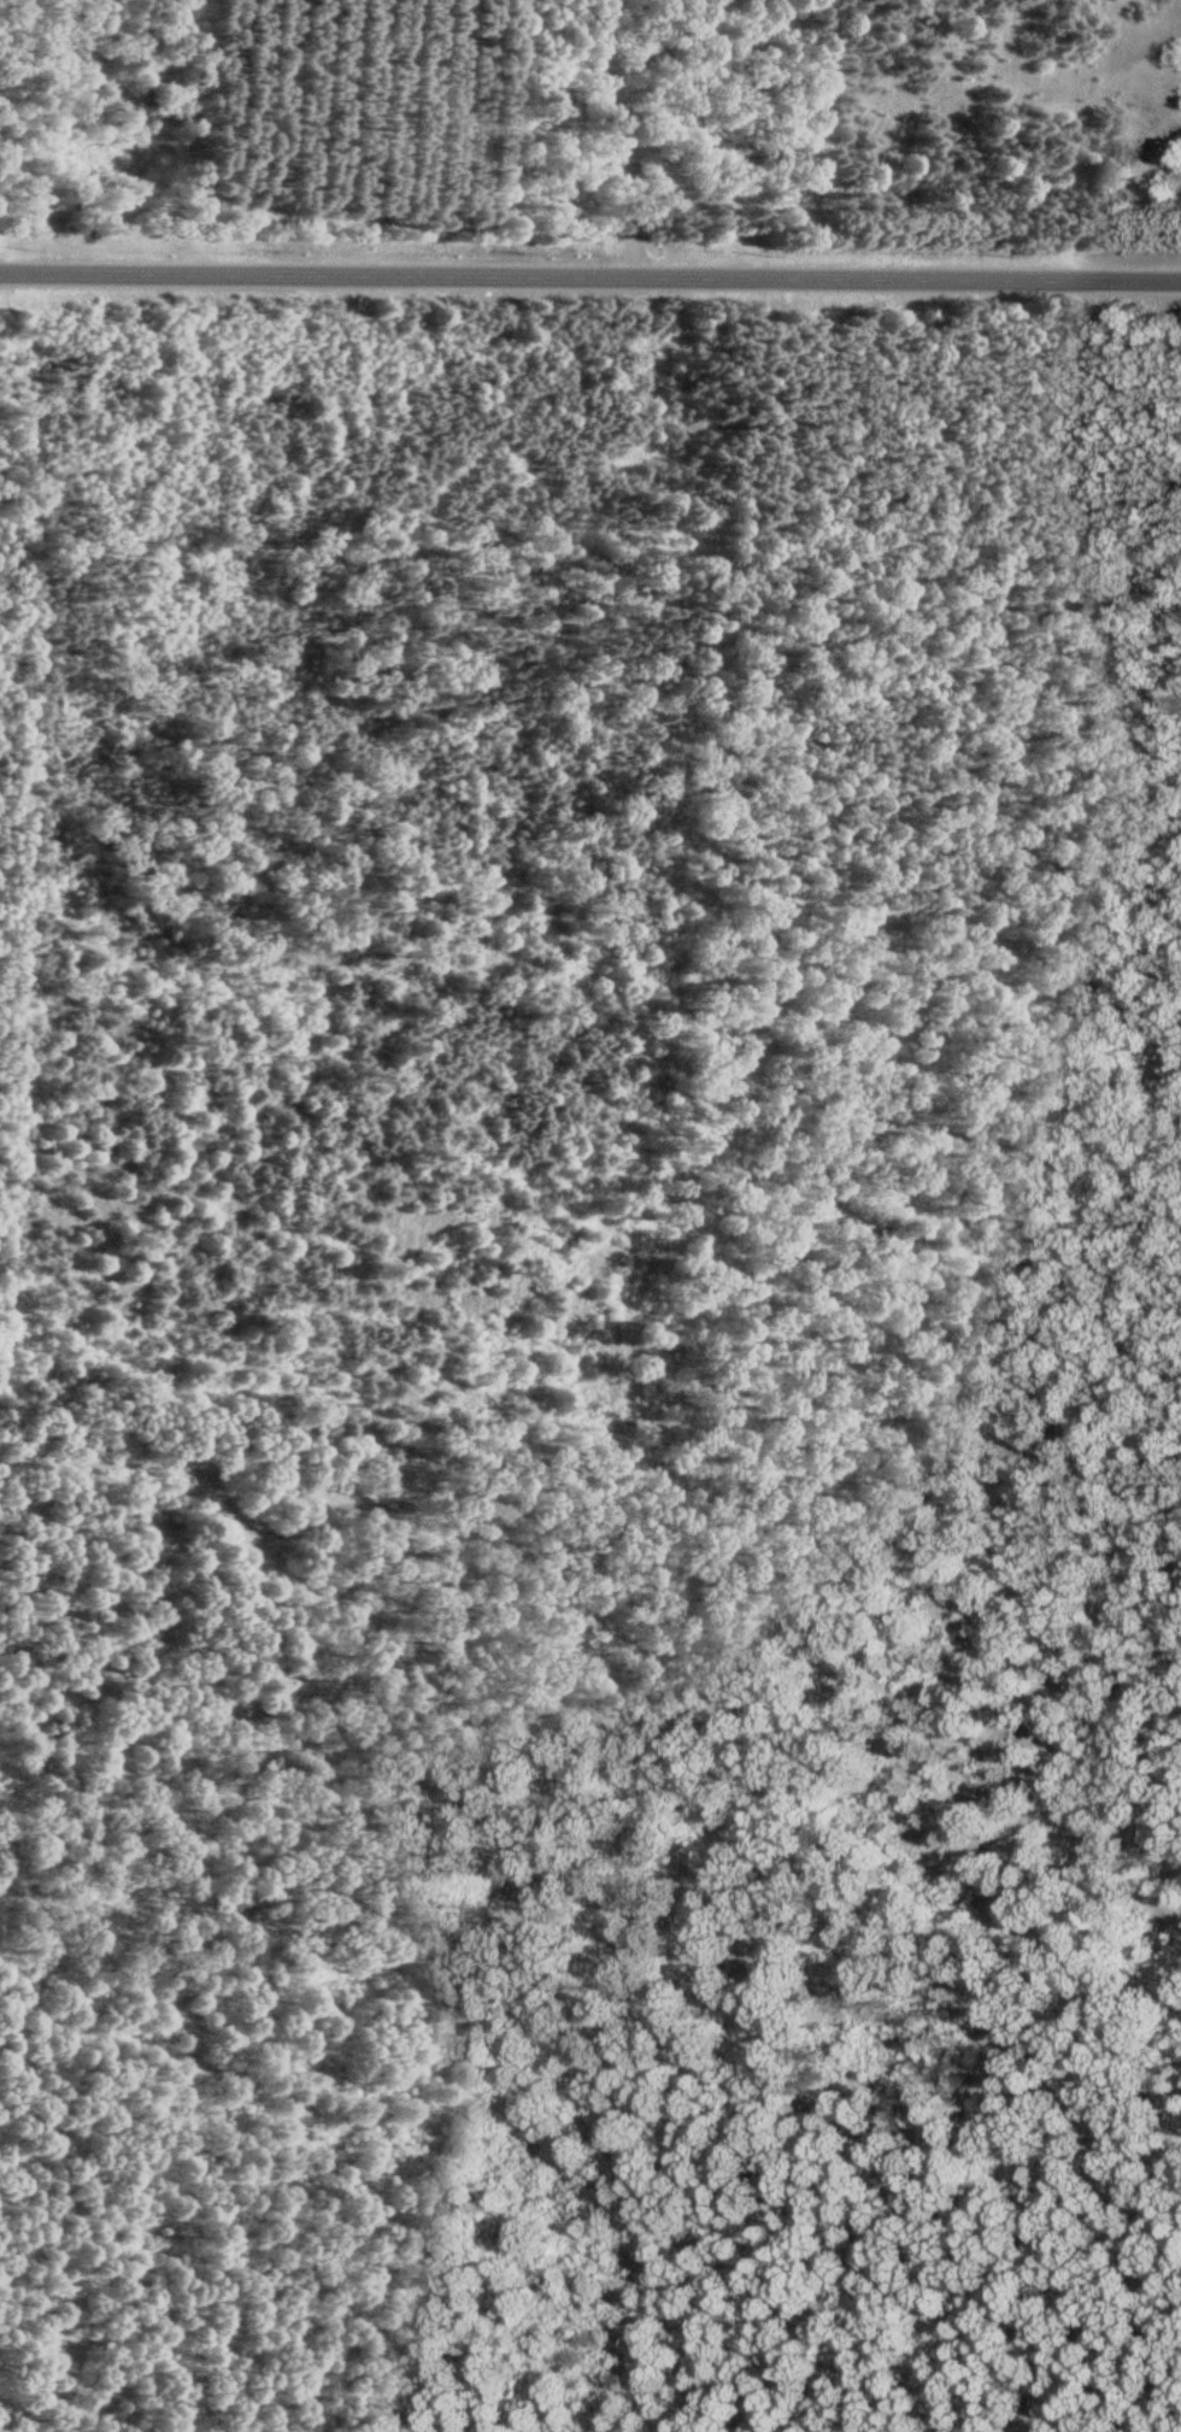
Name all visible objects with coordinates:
road: (590, 274)

